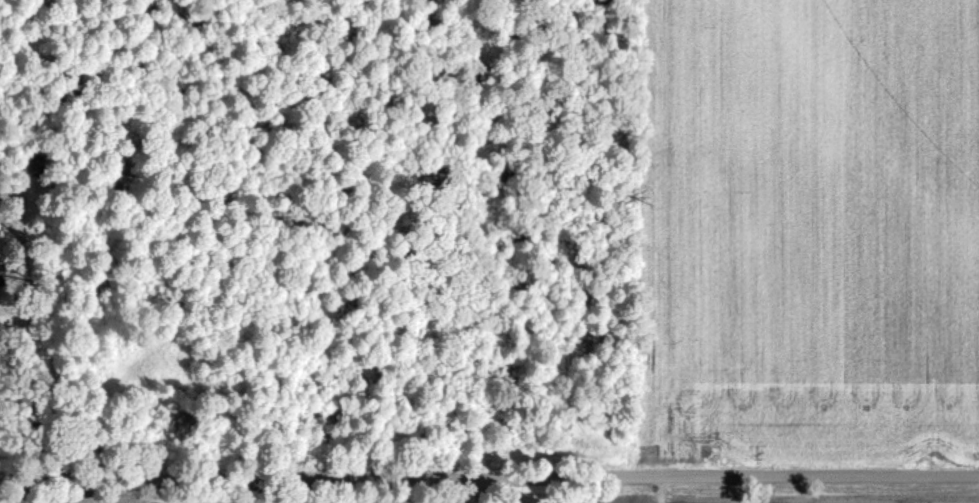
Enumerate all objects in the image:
building: (1, 276)
road: (27, 388)
road: (489, 479)
road: (480, 491)

